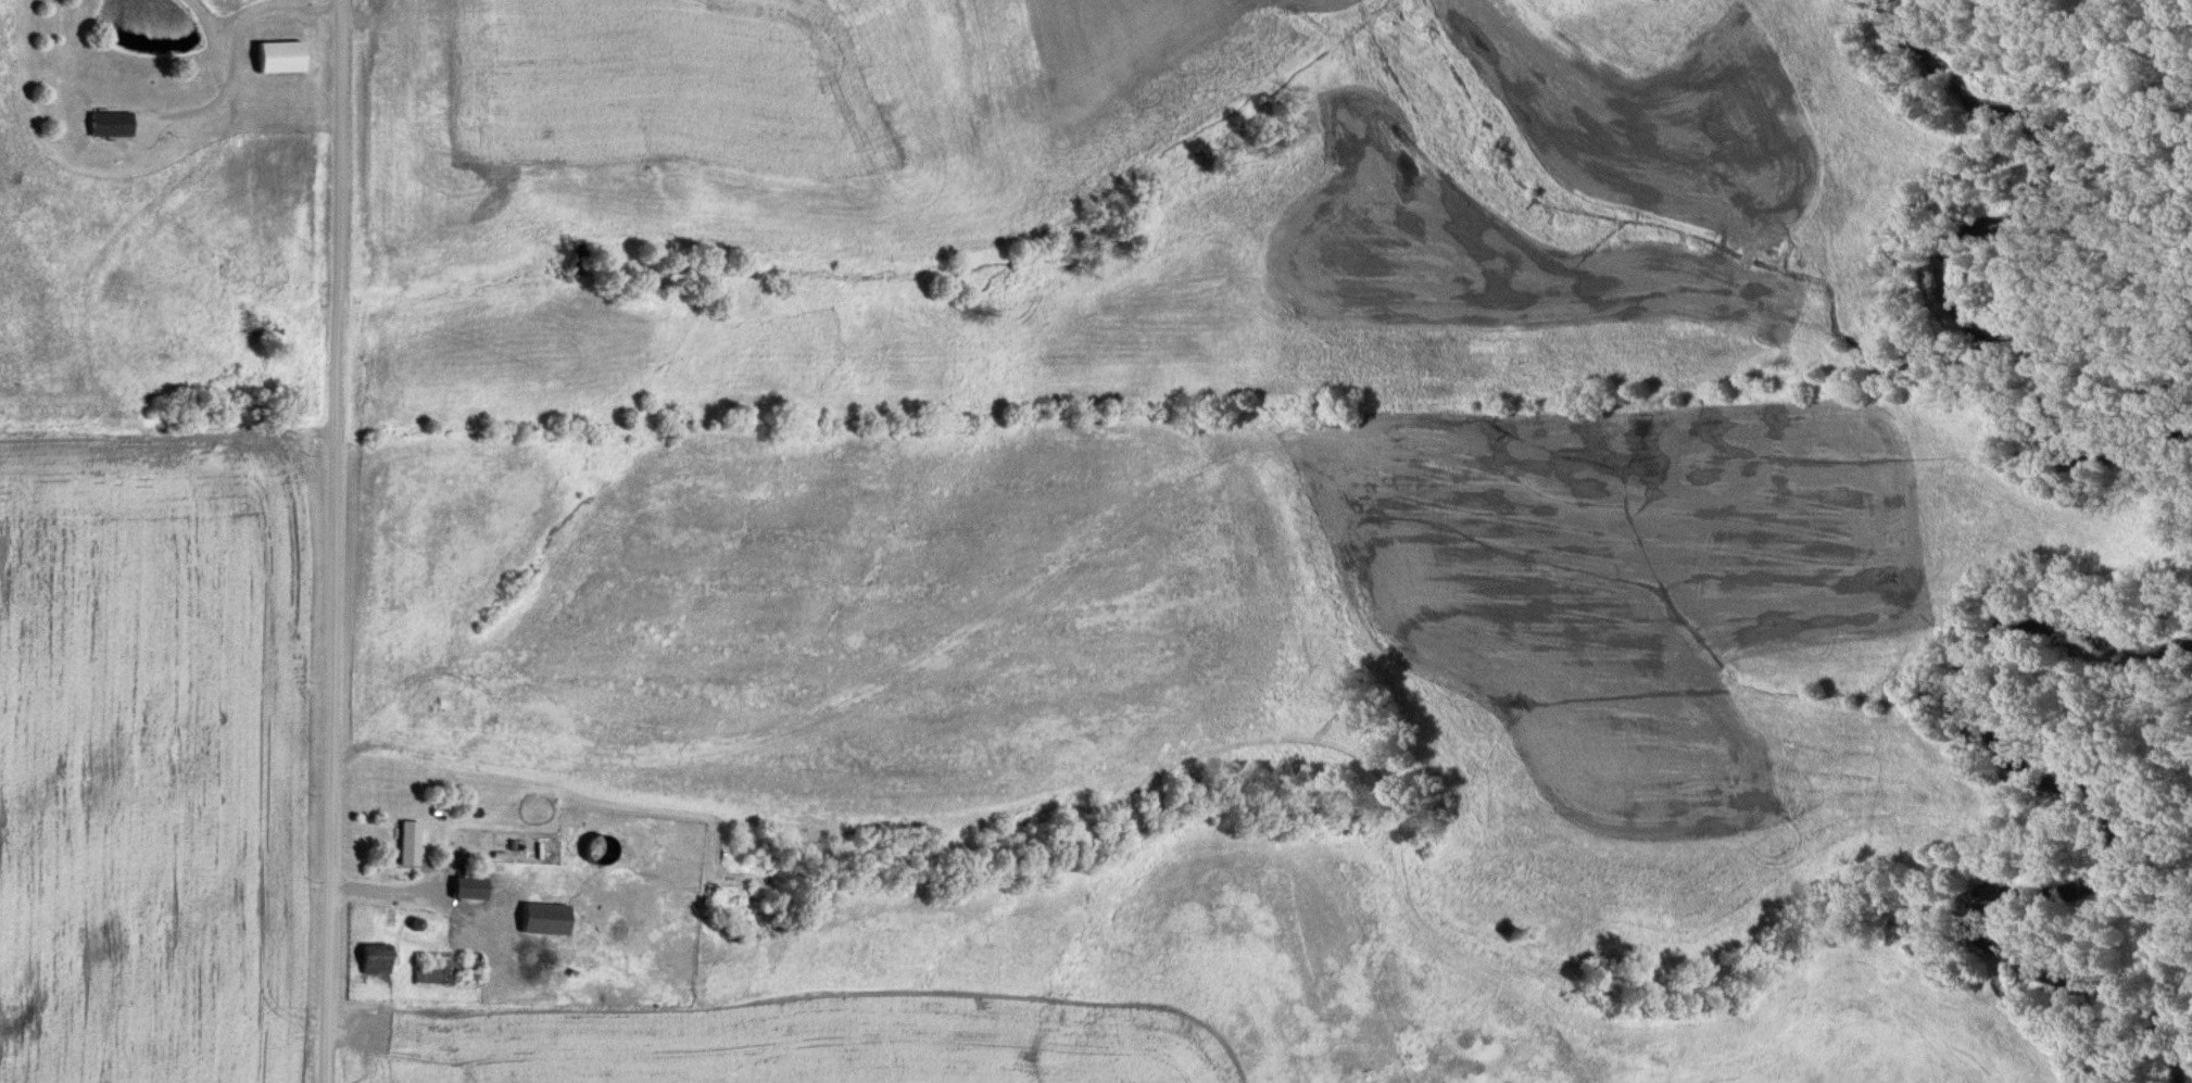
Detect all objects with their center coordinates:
building: (277, 56)
building: (105, 123)
road: (338, 202)
road: (166, 407)
road: (327, 743)
building: (403, 843)
building: (463, 889)
road: (406, 893)
building: (539, 919)
building: (371, 959)
building: (441, 968)

